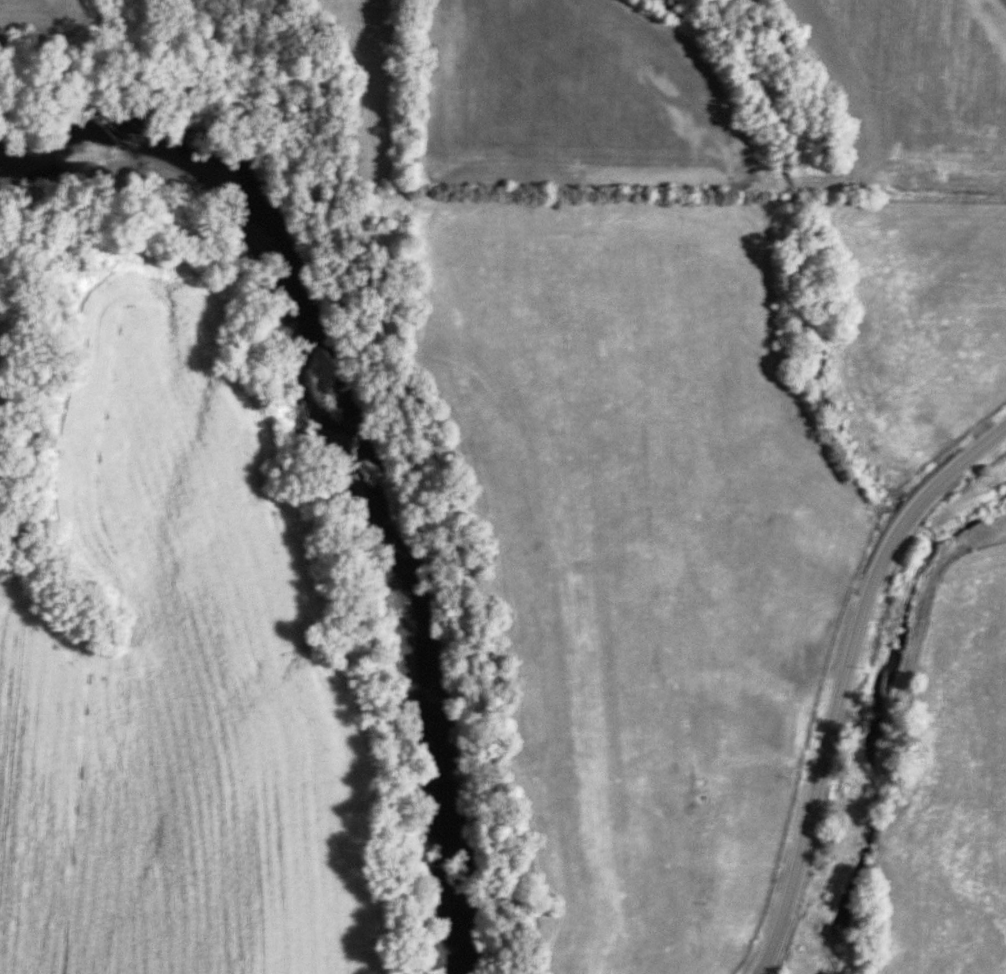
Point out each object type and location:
river: (347, 450)
road: (844, 677)

